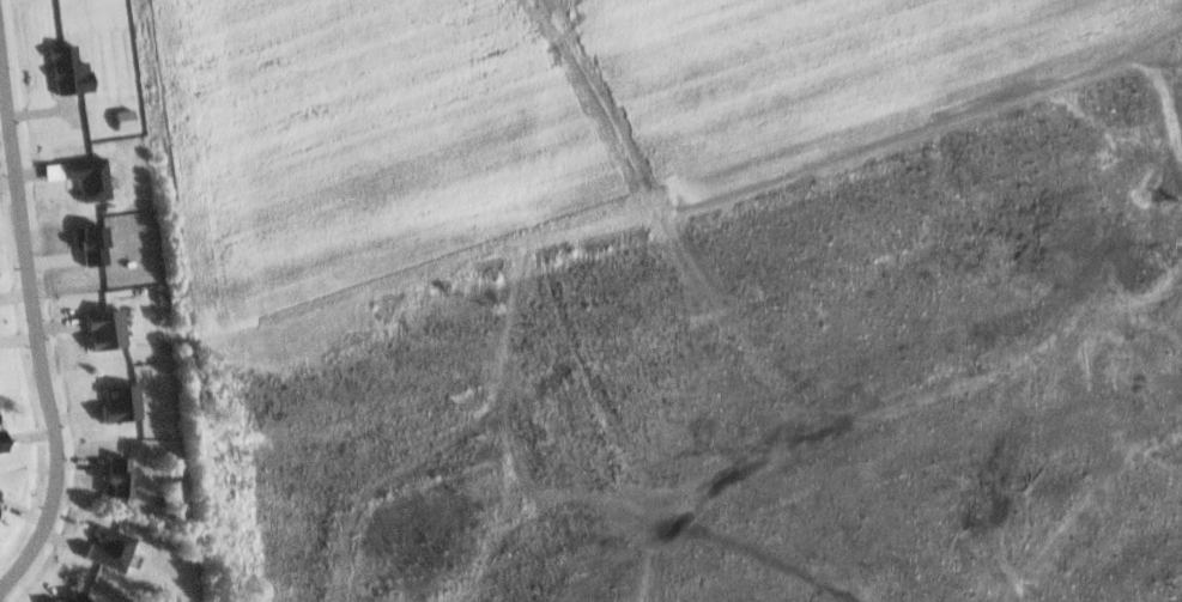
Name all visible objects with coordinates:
building: (69, 72)
building: (125, 120)
building: (90, 178)
building: (91, 245)
building: (105, 330)
road: (36, 334)
building: (122, 405)
building: (2, 442)
building: (119, 478)
building: (0, 489)
building: (110, 547)

